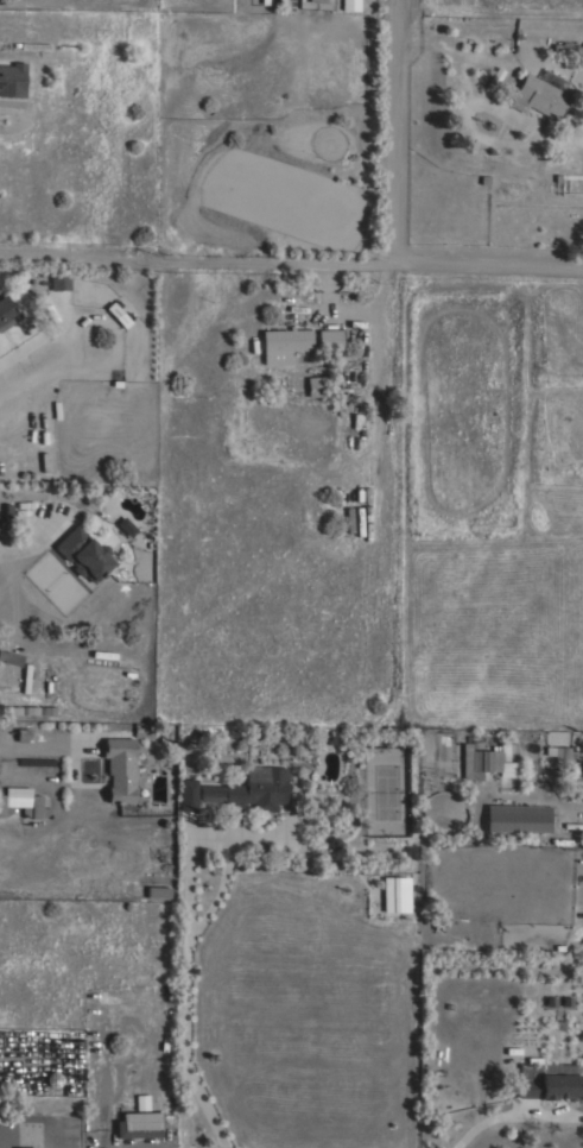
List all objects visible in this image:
building: (348, 6)
building: (34, 46)
building: (565, 50)
building: (581, 58)
building: (582, 76)
building: (12, 80)
building: (492, 81)
building: (539, 94)
road: (397, 132)
road: (559, 138)
road: (197, 265)
road: (489, 266)
building: (58, 284)
building: (6, 314)
building: (116, 314)
building: (329, 340)
building: (283, 345)
building: (313, 387)
building: (128, 529)
road: (19, 542)
building: (83, 554)
building: (11, 658)
building: (550, 738)
road: (42, 743)
building: (560, 752)
building: (483, 762)
building: (119, 770)
building: (258, 788)
building: (186, 795)
building: (17, 797)
building: (517, 818)
road: (210, 837)
building: (555, 851)
building: (158, 894)
building: (394, 897)
road: (184, 1047)
building: (549, 1086)
building: (140, 1103)
building: (138, 1125)
road: (37, 1130)
road: (0, 1138)

